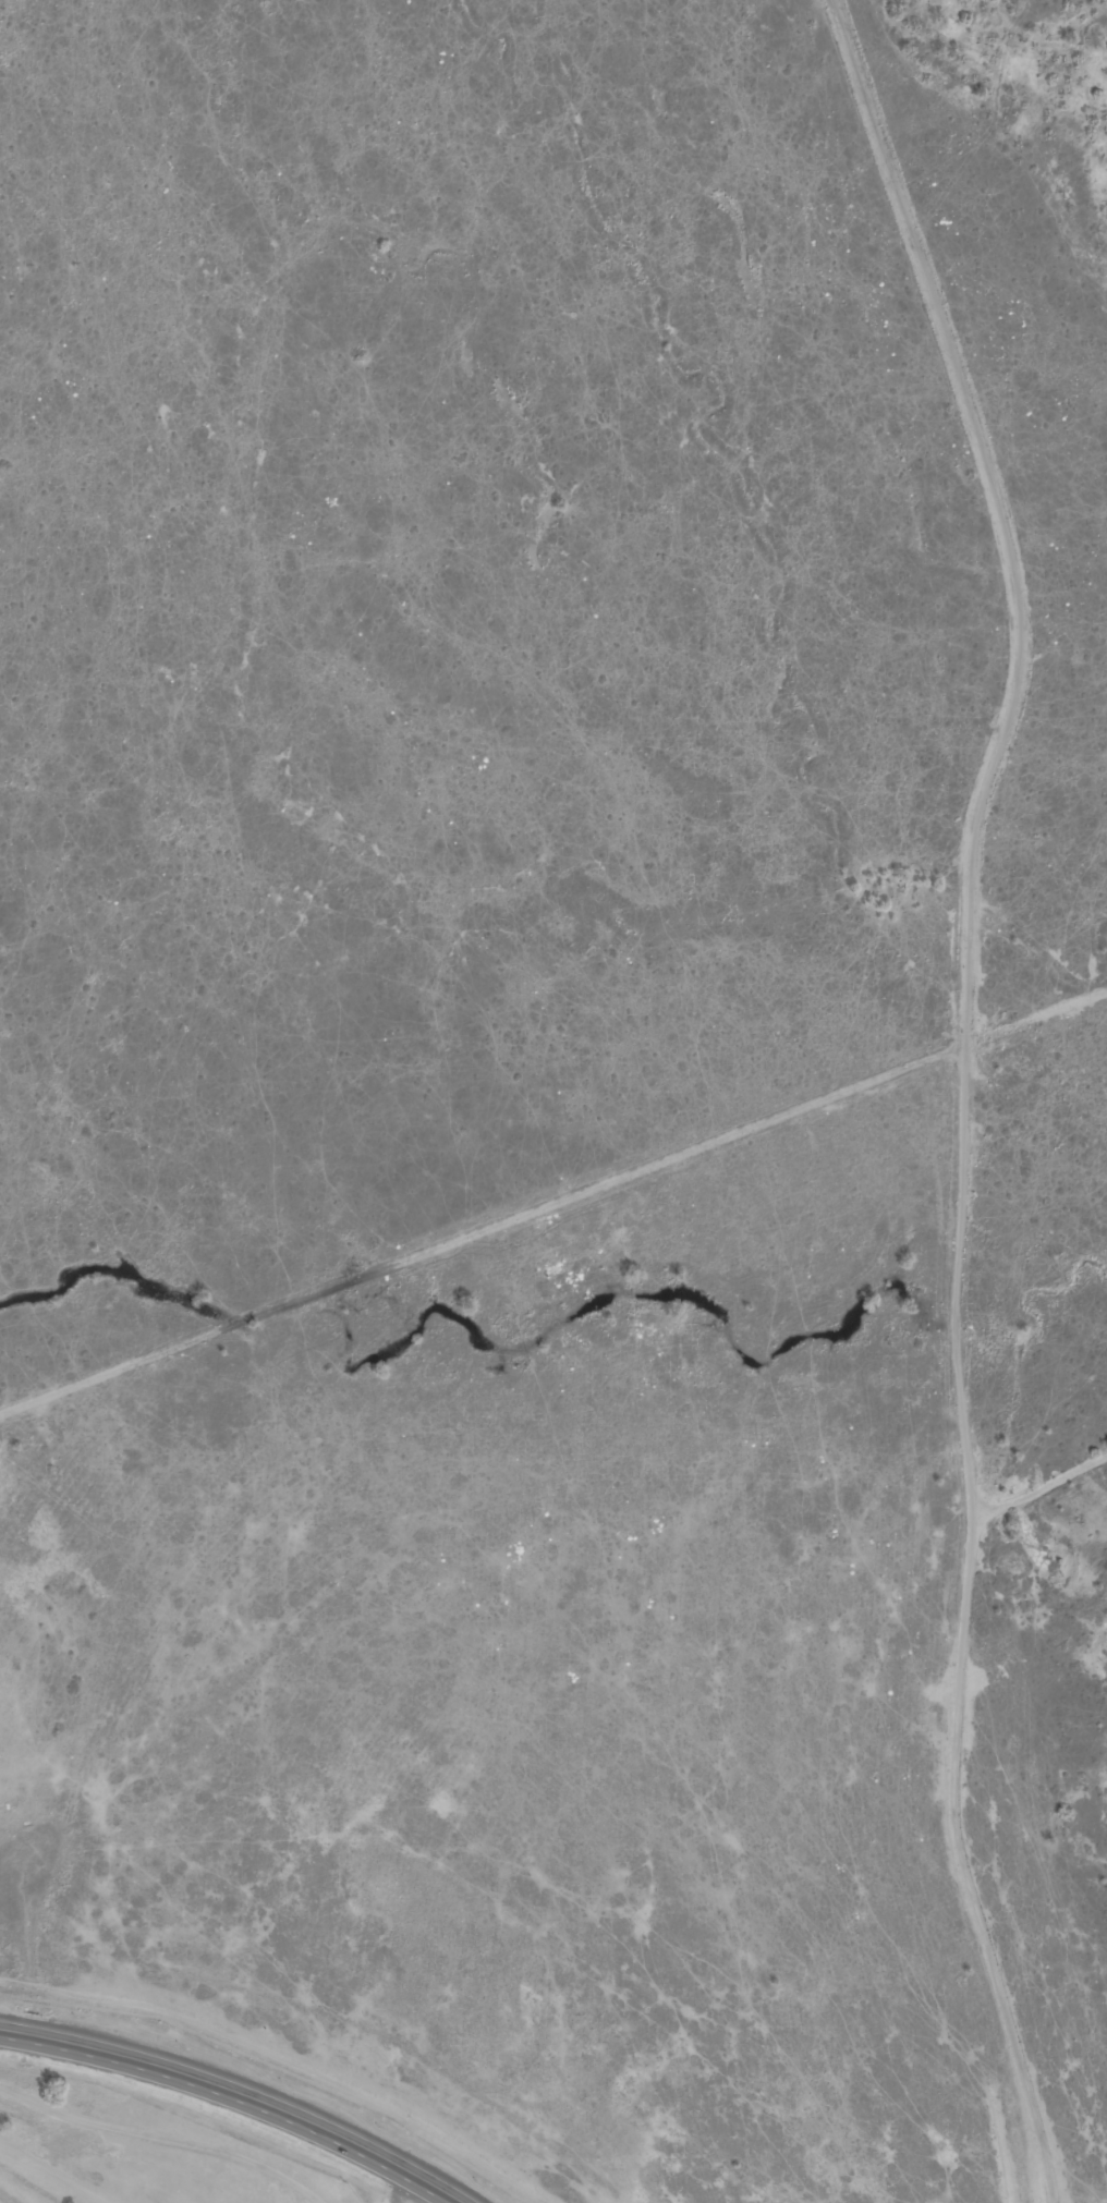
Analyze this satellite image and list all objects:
road: (965, 1088)
road: (482, 1229)
road: (223, 2031)
road: (232, 2094)
road: (162, 2139)
road: (494, 2166)
road: (411, 2195)
road: (422, 2195)

